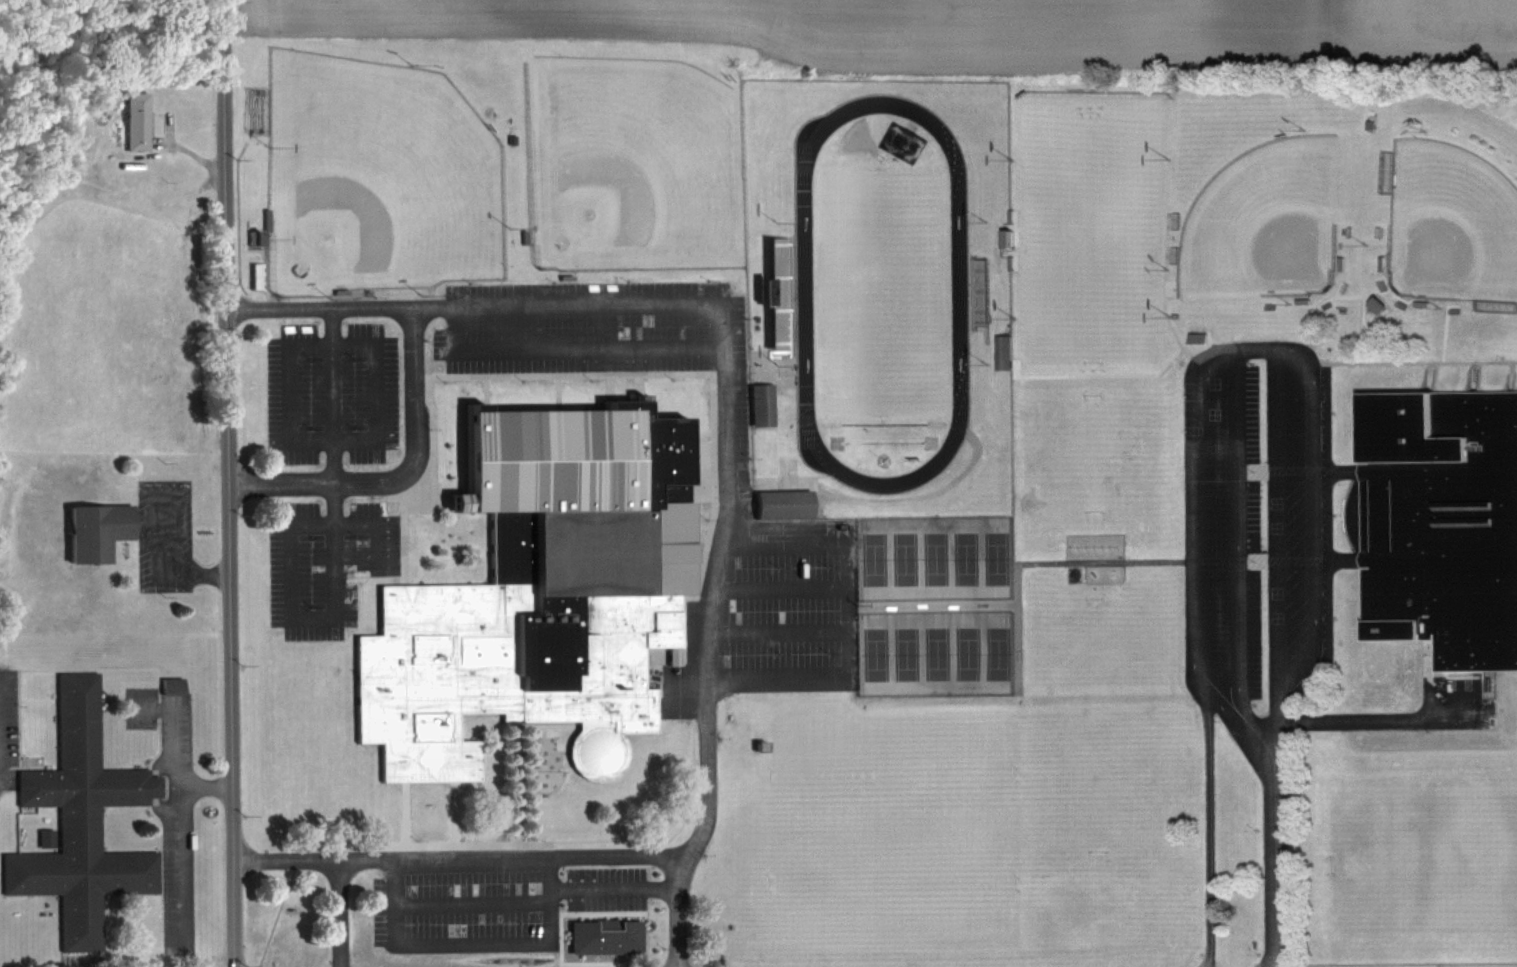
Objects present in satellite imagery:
crop: (996, 34)
building: (132, 122)
building: (1369, 122)
building: (510, 137)
park: (630, 167)
park: (380, 178)
building: (1007, 214)
park: (1263, 217)
building: (263, 218)
park: (1451, 221)
building: (1345, 229)
building: (1378, 230)
building: (520, 235)
building: (250, 237)
building: (1003, 237)
road: (1360, 239)
building: (1379, 260)
building: (1338, 261)
building: (1008, 262)
building: (254, 274)
building: (562, 275)
building: (1380, 282)
road: (1386, 284)
building: (1341, 286)
road: (1334, 287)
building: (980, 288)
building: (338, 289)
building: (771, 290)
park: (880, 293)
track: (959, 295)
road: (1326, 296)
building: (1299, 297)
road: (1361, 299)
building: (1419, 301)
building: (1325, 302)
road: (610, 303)
building: (1375, 303)
building: (1268, 304)
building: (1398, 304)
building: (1451, 307)
road: (318, 308)
road: (606, 326)
road: (1442, 332)
parking lot: (603, 334)
road: (1194, 346)
road: (1246, 348)
road: (546, 349)
building: (1000, 349)
road: (788, 356)
road: (1414, 360)
road: (1164, 364)
road: (1509, 374)
road: (1428, 375)
road: (1470, 375)
road: (709, 377)
road: (637, 381)
road: (605, 386)
road: (554, 390)
road: (482, 391)
parking lot: (331, 392)
building: (757, 402)
road: (324, 441)
road: (334, 463)
road: (399, 475)
road: (416, 479)
road: (226, 483)
road: (868, 498)
building: (778, 501)
building: (1439, 521)
road: (697, 525)
road: (286, 531)
building: (95, 532)
parking lot: (1255, 535)
road: (778, 542)
park: (966, 558)
road: (1039, 558)
park: (872, 559)
park: (904, 559)
park: (935, 559)
park: (996, 559)
parking lot: (323, 563)
road: (693, 568)
road: (169, 575)
road: (775, 586)
building: (534, 593)
parking lot: (787, 609)
road: (775, 631)
park: (872, 651)
park: (964, 651)
park: (994, 651)
park: (902, 652)
park: (932, 652)
road: (776, 674)
road: (1388, 718)
road: (510, 780)
road: (205, 784)
road: (402, 811)
road: (450, 811)
road: (176, 814)
building: (77, 821)
road: (701, 827)
road: (1210, 830)
road: (486, 841)
road: (1274, 863)
parking lot: (602, 887)
road: (614, 889)
road: (468, 904)
parking lot: (463, 909)
road: (339, 912)
road: (678, 914)
building: (601, 934)
road: (471, 941)

